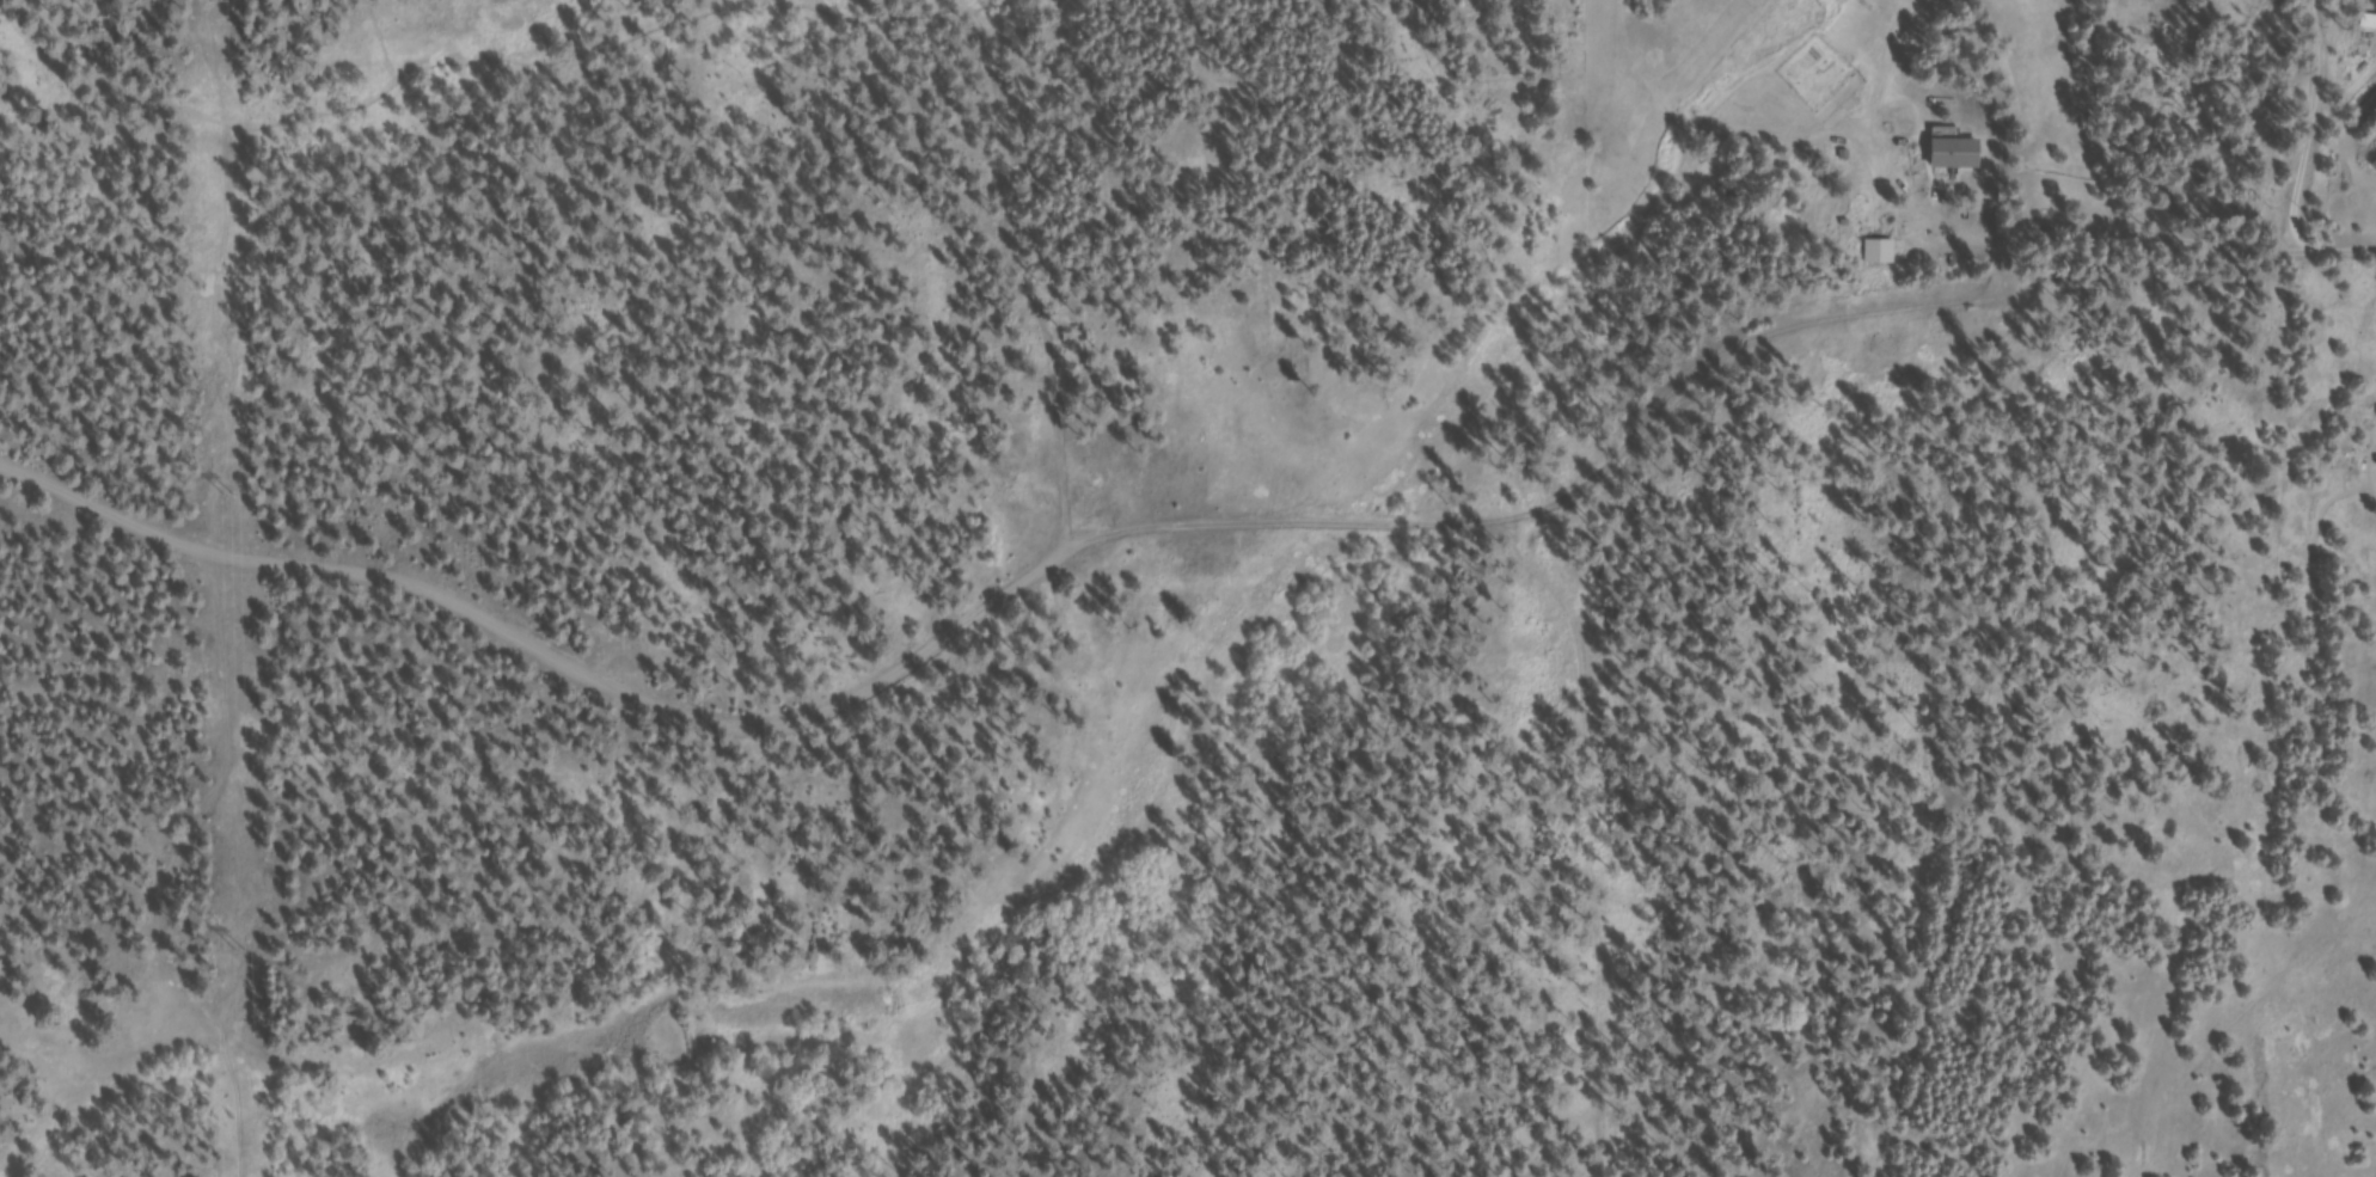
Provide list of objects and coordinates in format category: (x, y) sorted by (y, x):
building: (1423, 1)
building: (1812, 62)
building: (1962, 158)
building: (2375, 170)
road: (2209, 235)
building: (1882, 256)
road: (1004, 599)

